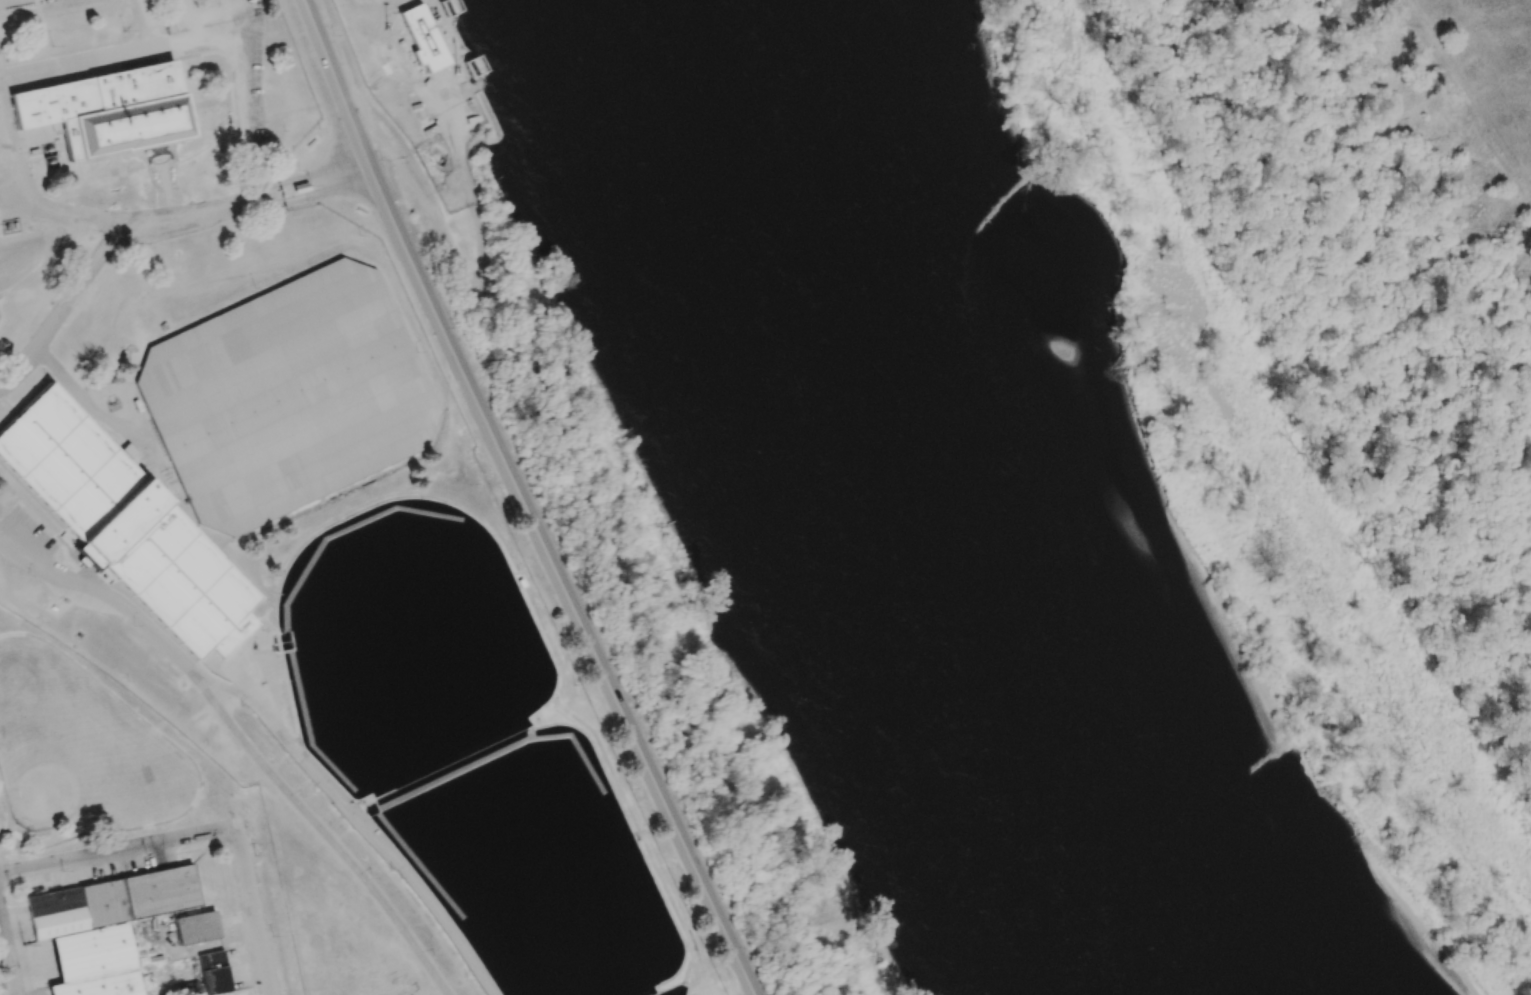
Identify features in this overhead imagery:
building: (421, 38)
road: (339, 44)
road: (281, 92)
road: (338, 95)
building: (107, 110)
road: (282, 112)
road: (151, 225)
building: (238, 404)
road: (522, 500)
river: (919, 514)
building: (122, 518)
road: (603, 536)
building: (90, 560)
road: (277, 727)
park: (78, 750)
road: (116, 850)
road: (254, 912)
building: (58, 922)
building: (195, 927)
road: (9, 952)
building: (93, 953)
building: (213, 973)
building: (102, 985)
road: (733, 985)
building: (188, 988)

